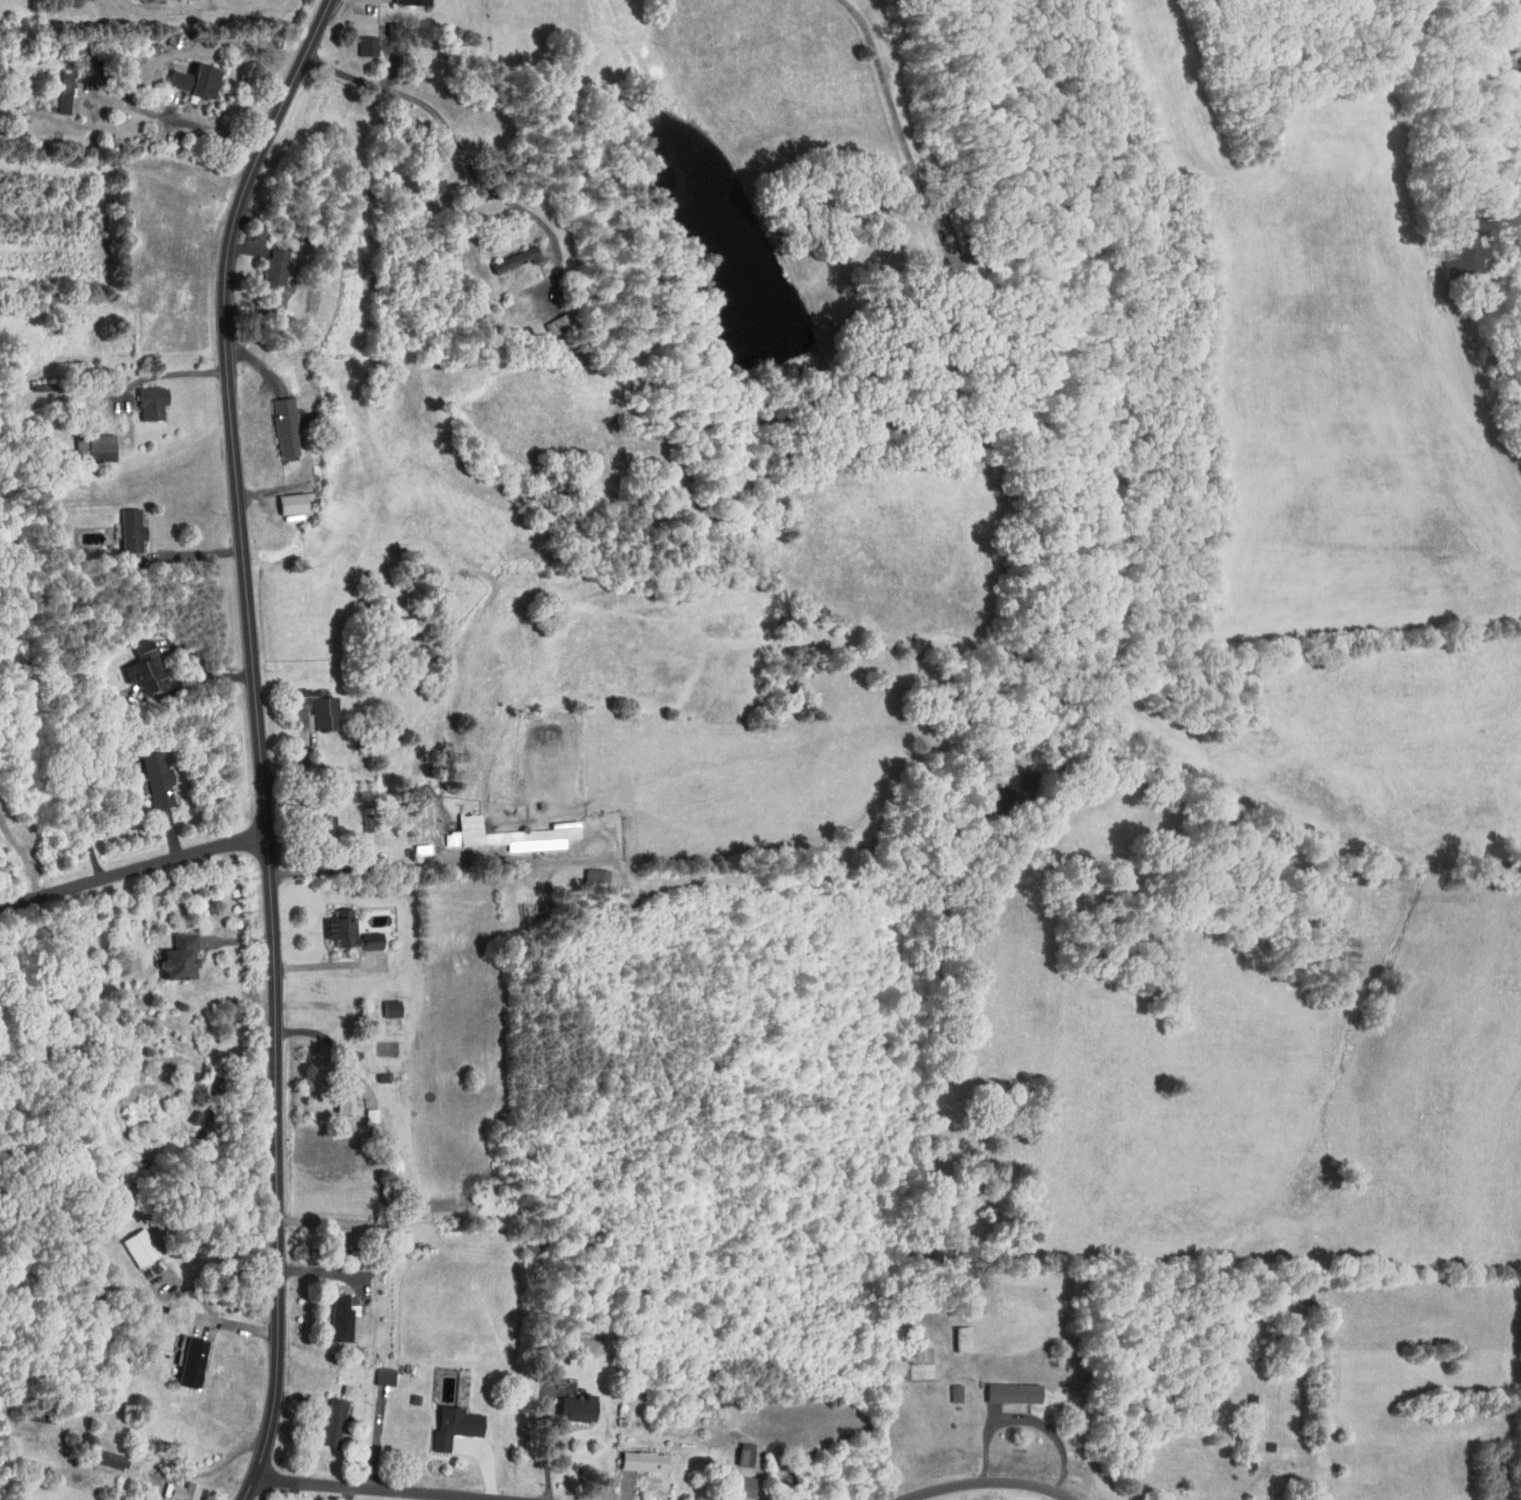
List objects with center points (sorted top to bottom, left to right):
building: (408, 2)
road: (445, 36)
building: (364, 44)
road: (353, 46)
building: (191, 79)
road: (236, 104)
road: (155, 110)
road: (901, 119)
road: (461, 151)
building: (434, 184)
building: (1460, 254)
building: (501, 257)
road: (257, 262)
building: (272, 266)
road: (170, 372)
road: (1482, 382)
building: (147, 401)
road: (262, 418)
building: (96, 447)
road: (260, 490)
building: (291, 503)
building: (127, 529)
road: (206, 550)
building: (141, 668)
road: (224, 677)
building: (312, 709)
road: (316, 729)
road: (261, 741)
building: (153, 778)
road: (140, 823)
road: (296, 823)
building: (508, 835)
road: (389, 861)
road: (135, 863)
building: (595, 875)
building: (347, 931)
building: (174, 958)
road: (328, 964)
building: (388, 1008)
road: (333, 1043)
building: (342, 1106)
road: (325, 1222)
building: (403, 1241)
building: (340, 1317)
road: (239, 1328)
building: (959, 1337)
building: (188, 1363)
building: (913, 1365)
building: (383, 1375)
building: (1009, 1391)
building: (954, 1392)
road: (302, 1399)
building: (571, 1407)
road: (1031, 1420)
building: (327, 1421)
building: (451, 1424)
road: (546, 1440)
building: (742, 1453)
building: (101, 1456)
building: (639, 1460)
road: (489, 1471)
road: (988, 1477)
building: (738, 1485)
building: (179, 1490)
road: (381, 1490)
road: (449, 1498)
building: (1161, 1498)
road: (475, 1499)

